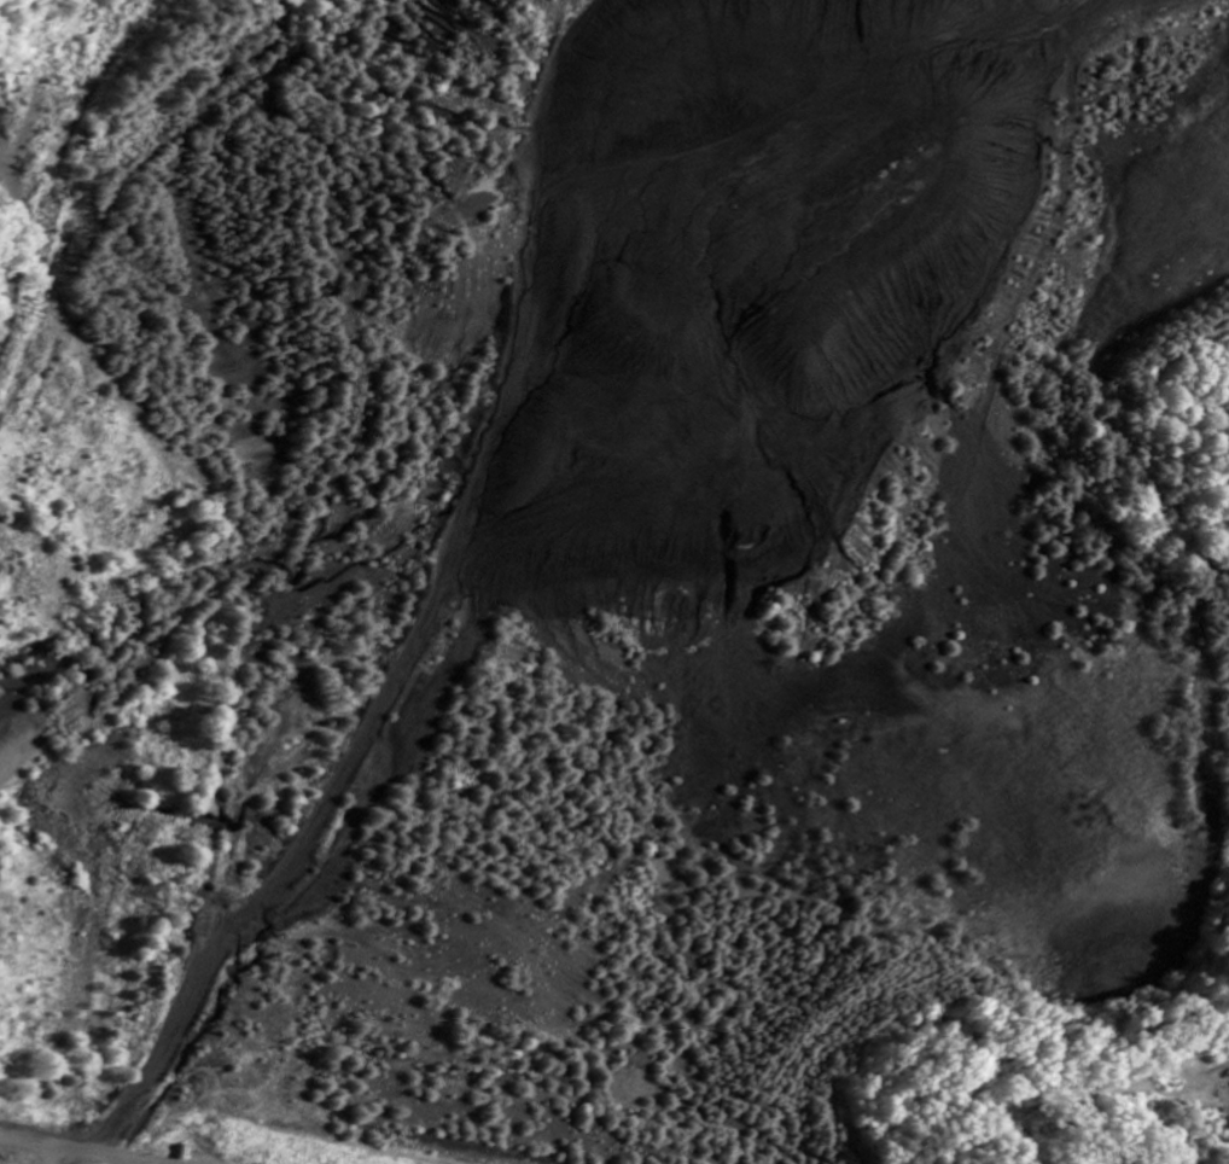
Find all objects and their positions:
road: (1122, 426)
road: (394, 1058)
building: (1223, 1125)
road: (70, 1150)
road: (51, 1156)

